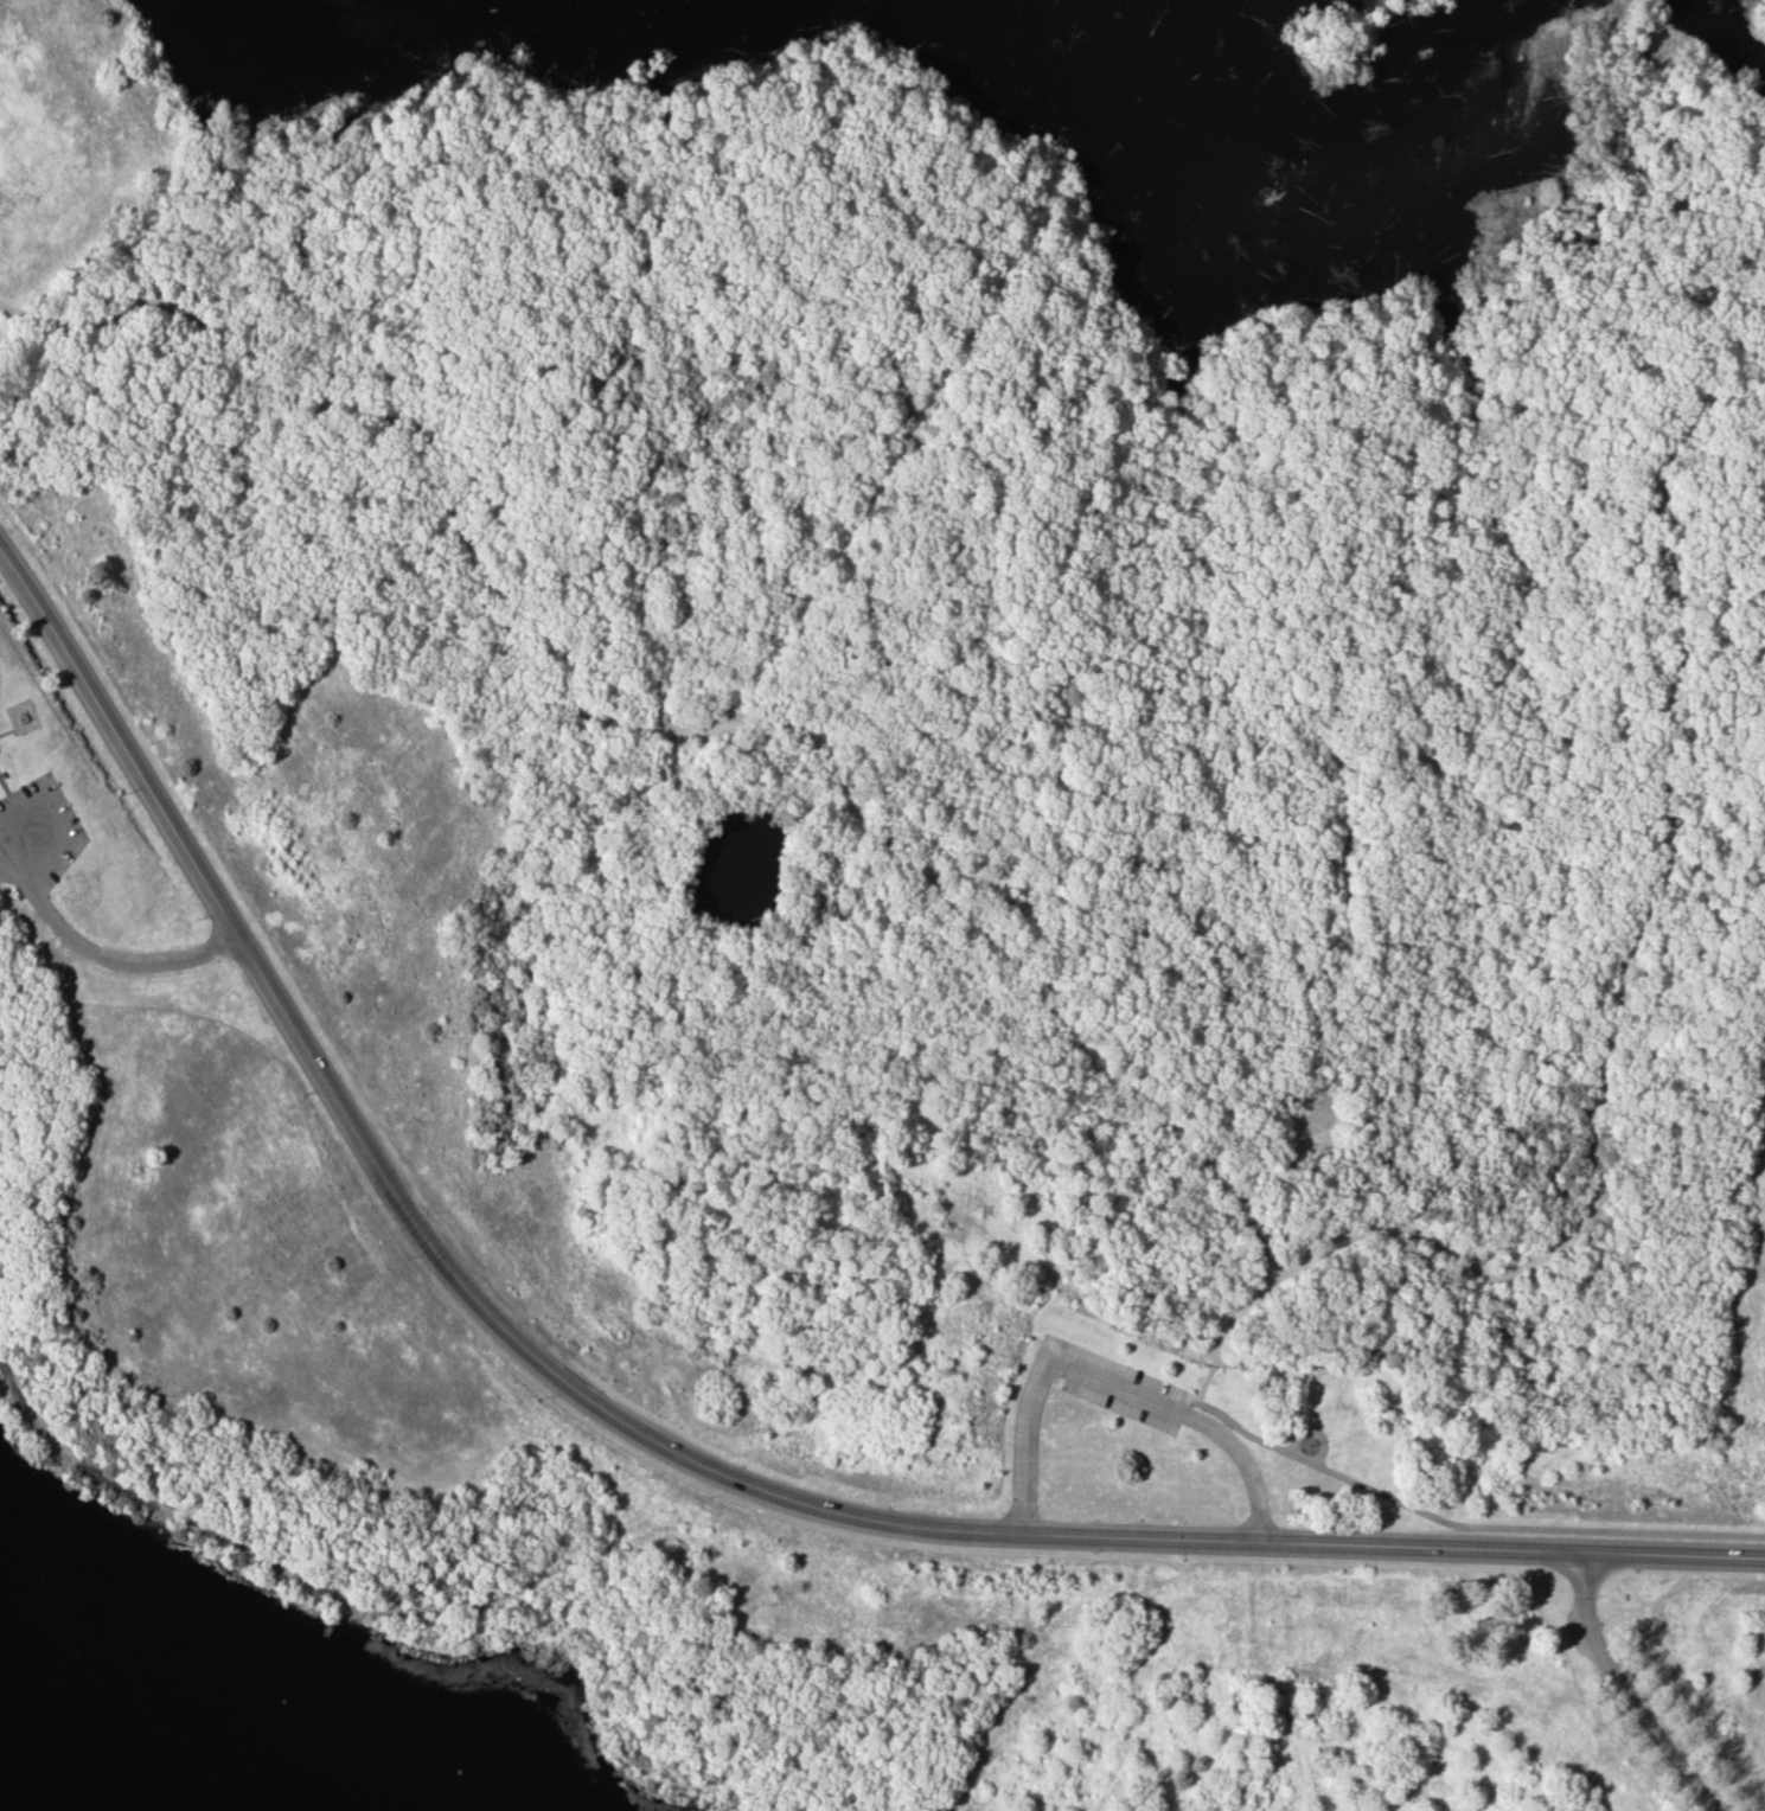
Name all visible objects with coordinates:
road: (842, 540)
road: (658, 729)
road: (5, 732)
road: (5, 783)
parking lot: (37, 837)
park: (882, 905)
road: (1632, 954)
road: (129, 959)
road: (1221, 1344)
road: (1107, 1384)
parking lot: (1113, 1386)
road: (1202, 1389)
road: (1317, 1431)
flagpole: (1309, 1442)
road: (658, 1445)
road: (1306, 1461)
road: (1466, 1527)
road: (1535, 1529)
park: (1688, 1659)
road: (1619, 1695)

